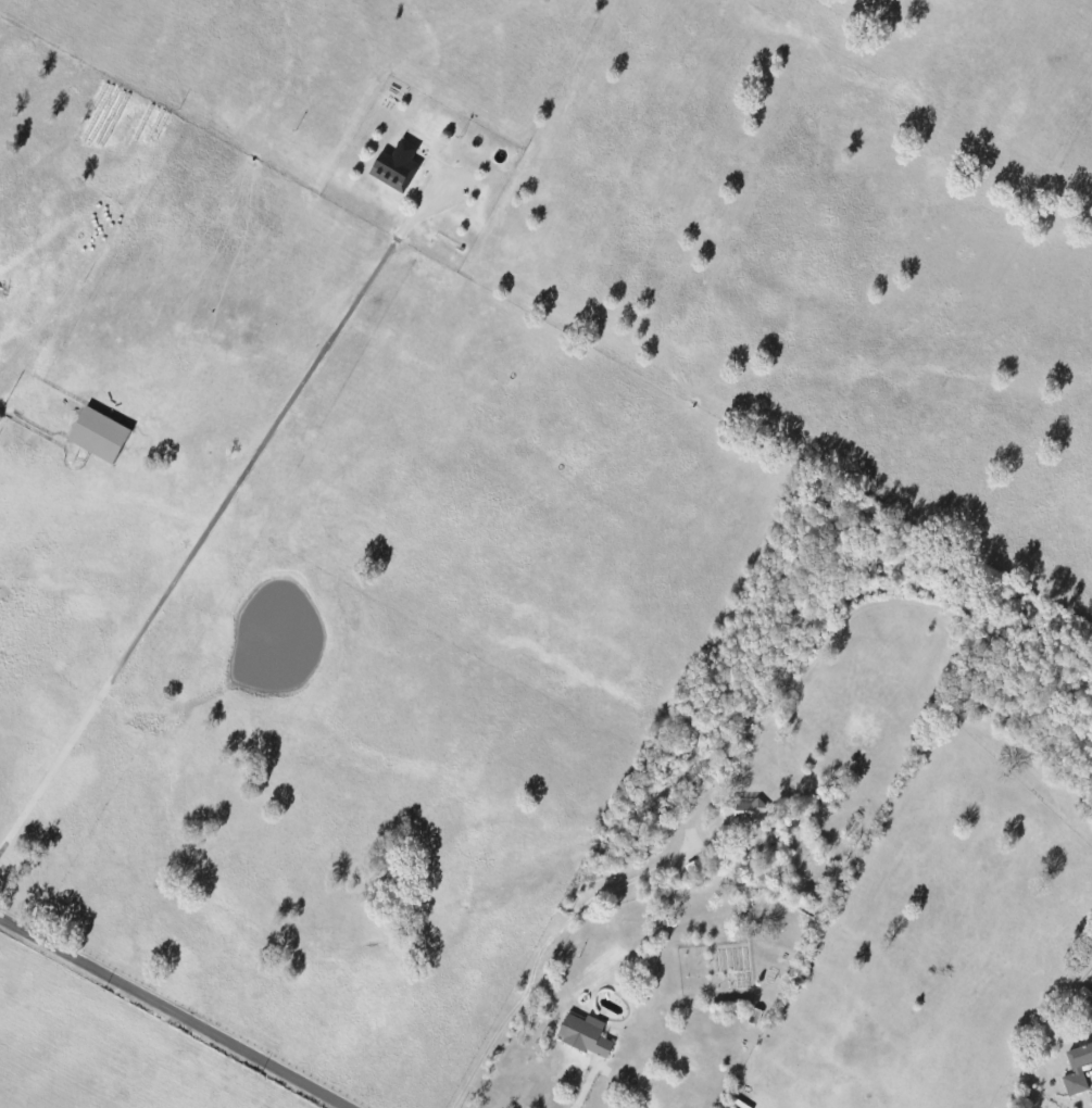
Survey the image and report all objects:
building: (397, 166)
building: (98, 435)
road: (209, 531)
building: (748, 810)
road: (167, 1012)
building: (585, 1034)
building: (1077, 1068)
road: (589, 1096)

